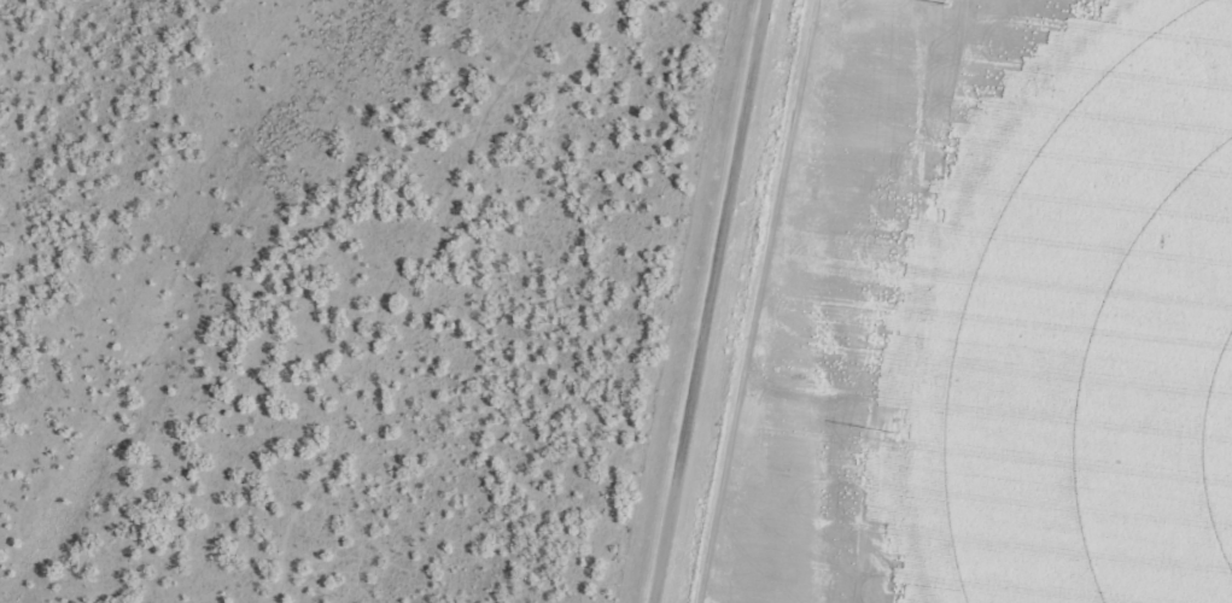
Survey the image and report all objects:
power tower: (946, 12)
road: (696, 301)
park: (796, 376)
power tower: (892, 439)

